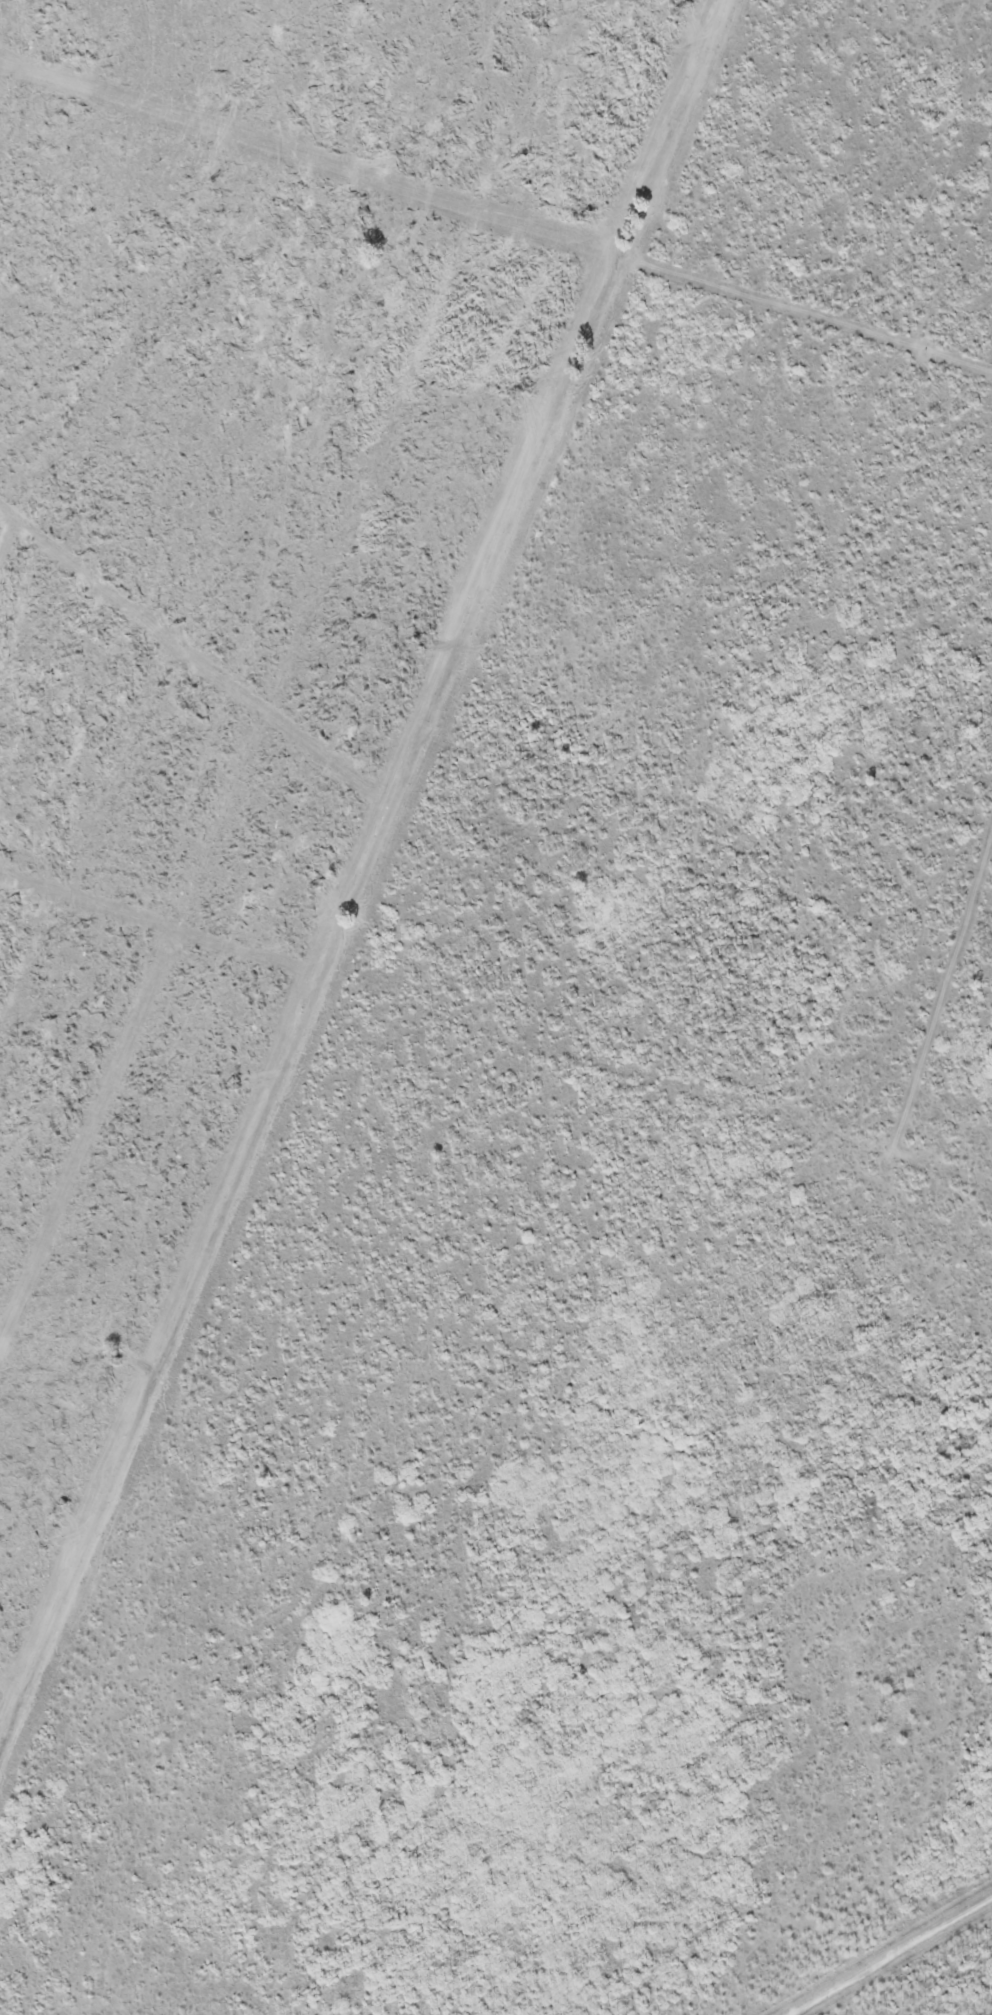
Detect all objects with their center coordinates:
road: (899, 1959)

